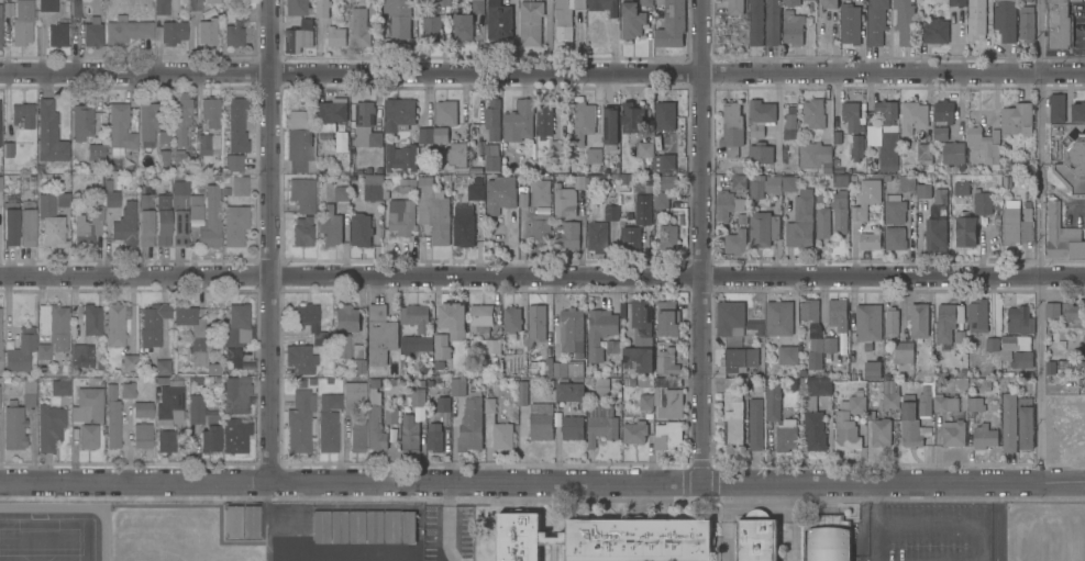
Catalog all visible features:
building: (804, 0)
building: (1059, 0)
building: (211, 1)
building: (443, 2)
building: (646, 2)
building: (791, 2)
building: (956, 2)
building: (829, 3)
building: (579, 4)
building: (46, 5)
building: (193, 5)
building: (604, 5)
building: (160, 7)
building: (478, 7)
building: (734, 7)
building: (298, 8)
building: (322, 8)
building: (8, 9)
building: (75, 9)
building: (374, 10)
building: (234, 15)
building: (398, 18)
building: (563, 19)
building: (976, 19)
building: (631, 20)
building: (1005, 20)
building: (498, 21)
building: (876, 21)
building: (530, 22)
building: (755, 22)
building: (904, 22)
building: (21, 23)
building: (773, 23)
building: (850, 23)
building: (1026, 23)
building: (672, 24)
building: (1059, 25)
building: (463, 26)
building: (361, 27)
building: (431, 27)
building: (793, 27)
building: (125, 31)
building: (933, 31)
building: (169, 32)
building: (207, 32)
building: (91, 33)
building: (56, 34)
road: (1038, 34)
building: (232, 36)
building: (298, 36)
building: (336, 36)
road: (542, 71)
building: (1056, 108)
building: (886, 111)
building: (944, 111)
building: (1078, 111)
building: (210, 112)
building: (446, 112)
building: (813, 113)
building: (330, 114)
building: (399, 114)
building: (22, 115)
building: (665, 115)
building: (760, 116)
building: (853, 116)
building: (912, 116)
building: (180, 117)
building: (632, 117)
building: (492, 119)
building: (1017, 119)
building: (544, 120)
building: (519, 121)
building: (81, 122)
building: (790, 122)
building: (148, 124)
building: (236, 125)
building: (365, 125)
building: (582, 125)
building: (610, 126)
building: (120, 127)
building: (732, 128)
building: (48, 133)
building: (940, 133)
building: (425, 134)
building: (440, 134)
building: (874, 135)
building: (164, 138)
building: (299, 143)
building: (984, 143)
building: (207, 144)
building: (856, 147)
building: (9, 150)
building: (631, 150)
building: (99, 152)
building: (555, 152)
building: (888, 152)
building: (762, 153)
building: (925, 153)
building: (954, 154)
building: (457, 155)
building: (594, 155)
building: (399, 156)
building: (816, 156)
building: (491, 157)
building: (656, 157)
building: (164, 158)
building: (182, 158)
building: (909, 160)
building: (232, 162)
building: (1073, 166)
road: (1038, 170)
building: (594, 180)
building: (831, 180)
building: (739, 181)
building: (668, 182)
building: (907, 182)
building: (0, 183)
building: (773, 183)
building: (789, 183)
building: (239, 186)
building: (408, 186)
building: (374, 187)
building: (961, 188)
building: (756, 189)
building: (62, 190)
building: (340, 190)
building: (923, 190)
building: (322, 192)
building: (476, 192)
building: (541, 192)
building: (301, 194)
building: (110, 195)
building: (501, 195)
building: (522, 195)
building: (866, 198)
building: (661, 200)
building: (564, 201)
building: (982, 202)
building: (727, 204)
road: (1077, 204)
building: (195, 207)
building: (643, 209)
building: (840, 209)
building: (894, 209)
building: (178, 210)
building: (433, 211)
building: (611, 213)
building: (402, 218)
building: (145, 220)
building: (210, 220)
building: (163, 221)
building: (801, 221)
building: (49, 222)
building: (822, 222)
building: (937, 222)
building: (1017, 223)
building: (10, 224)
building: (26, 224)
building: (124, 225)
building: (234, 225)
building: (330, 225)
building: (463, 225)
building: (538, 226)
building: (87, 227)
building: (763, 228)
building: (361, 229)
building: (965, 231)
building: (301, 232)
building: (567, 235)
building: (1062, 235)
building: (598, 236)
building: (895, 237)
building: (631, 238)
building: (668, 238)
building: (870, 240)
road: (701, 242)
building: (737, 242)
road: (266, 243)
road: (983, 249)
road: (542, 276)
building: (837, 311)
building: (1052, 311)
building: (1072, 313)
building: (977, 315)
building: (480, 317)
building: (666, 317)
building: (346, 318)
building: (730, 318)
building: (778, 318)
building: (91, 319)
building: (512, 319)
building: (453, 321)
building: (893, 321)
building: (919, 321)
building: (1020, 321)
building: (948, 322)
building: (309, 323)
building: (536, 323)
building: (868, 323)
building: (53, 325)
building: (114, 325)
building: (150, 326)
building: (756, 326)
building: (237, 327)
building: (416, 329)
building: (572, 329)
building: (191, 332)
building: (600, 332)
building: (812, 333)
building: (380, 335)
building: (1084, 337)
building: (640, 338)
building: (960, 340)
building: (992, 344)
building: (1059, 344)
building: (830, 345)
building: (492, 346)
building: (1008, 346)
building: (343, 347)
building: (442, 347)
building: (612, 348)
building: (20, 351)
building: (42, 351)
building: (358, 351)
building: (904, 352)
building: (230, 354)
building: (82, 355)
building: (788, 355)
building: (0, 358)
building: (300, 359)
building: (740, 359)
building: (1022, 359)
building: (666, 361)
building: (129, 362)
building: (1071, 363)
building: (358, 367)
building: (162, 368)
building: (555, 368)
building: (1051, 368)
building: (212, 370)
road: (1038, 378)
building: (374, 383)
building: (60, 386)
building: (458, 386)
building: (601, 386)
building: (126, 390)
building: (1074, 390)
building: (571, 392)
building: (27, 393)
building: (522, 393)
building: (890, 394)
building: (236, 395)
building: (352, 395)
building: (416, 395)
building: (668, 396)
building: (646, 402)
building: (926, 402)
building: (169, 403)
building: (944, 403)
building: (443, 404)
building: (976, 404)
building: (87, 406)
building: (142, 409)
building: (196, 409)
building: (732, 412)
building: (815, 413)
building: (391, 414)
building: (111, 418)
building: (779, 418)
building: (541, 420)
building: (300, 422)
building: (375, 422)
building: (328, 423)
building: (601, 423)
building: (1009, 423)
building: (1026, 423)
building: (756, 424)
building: (472, 425)
building: (13, 427)
building: (49, 427)
building: (573, 427)
building: (912, 427)
building: (496, 428)
building: (846, 428)
building: (633, 429)
building: (410, 434)
building: (953, 434)
building: (141, 436)
building: (209, 436)
building: (234, 436)
building: (668, 436)
building: (985, 436)
building: (88, 437)
building: (357, 437)
building: (434, 437)
building: (166, 441)
road: (542, 483)
building: (232, 521)
building: (250, 521)
building: (344, 521)
road: (266, 523)
road: (449, 523)
road: (874, 523)
building: (757, 537)
building: (606, 538)
road: (979, 541)
building: (828, 543)
building: (346, 556)

